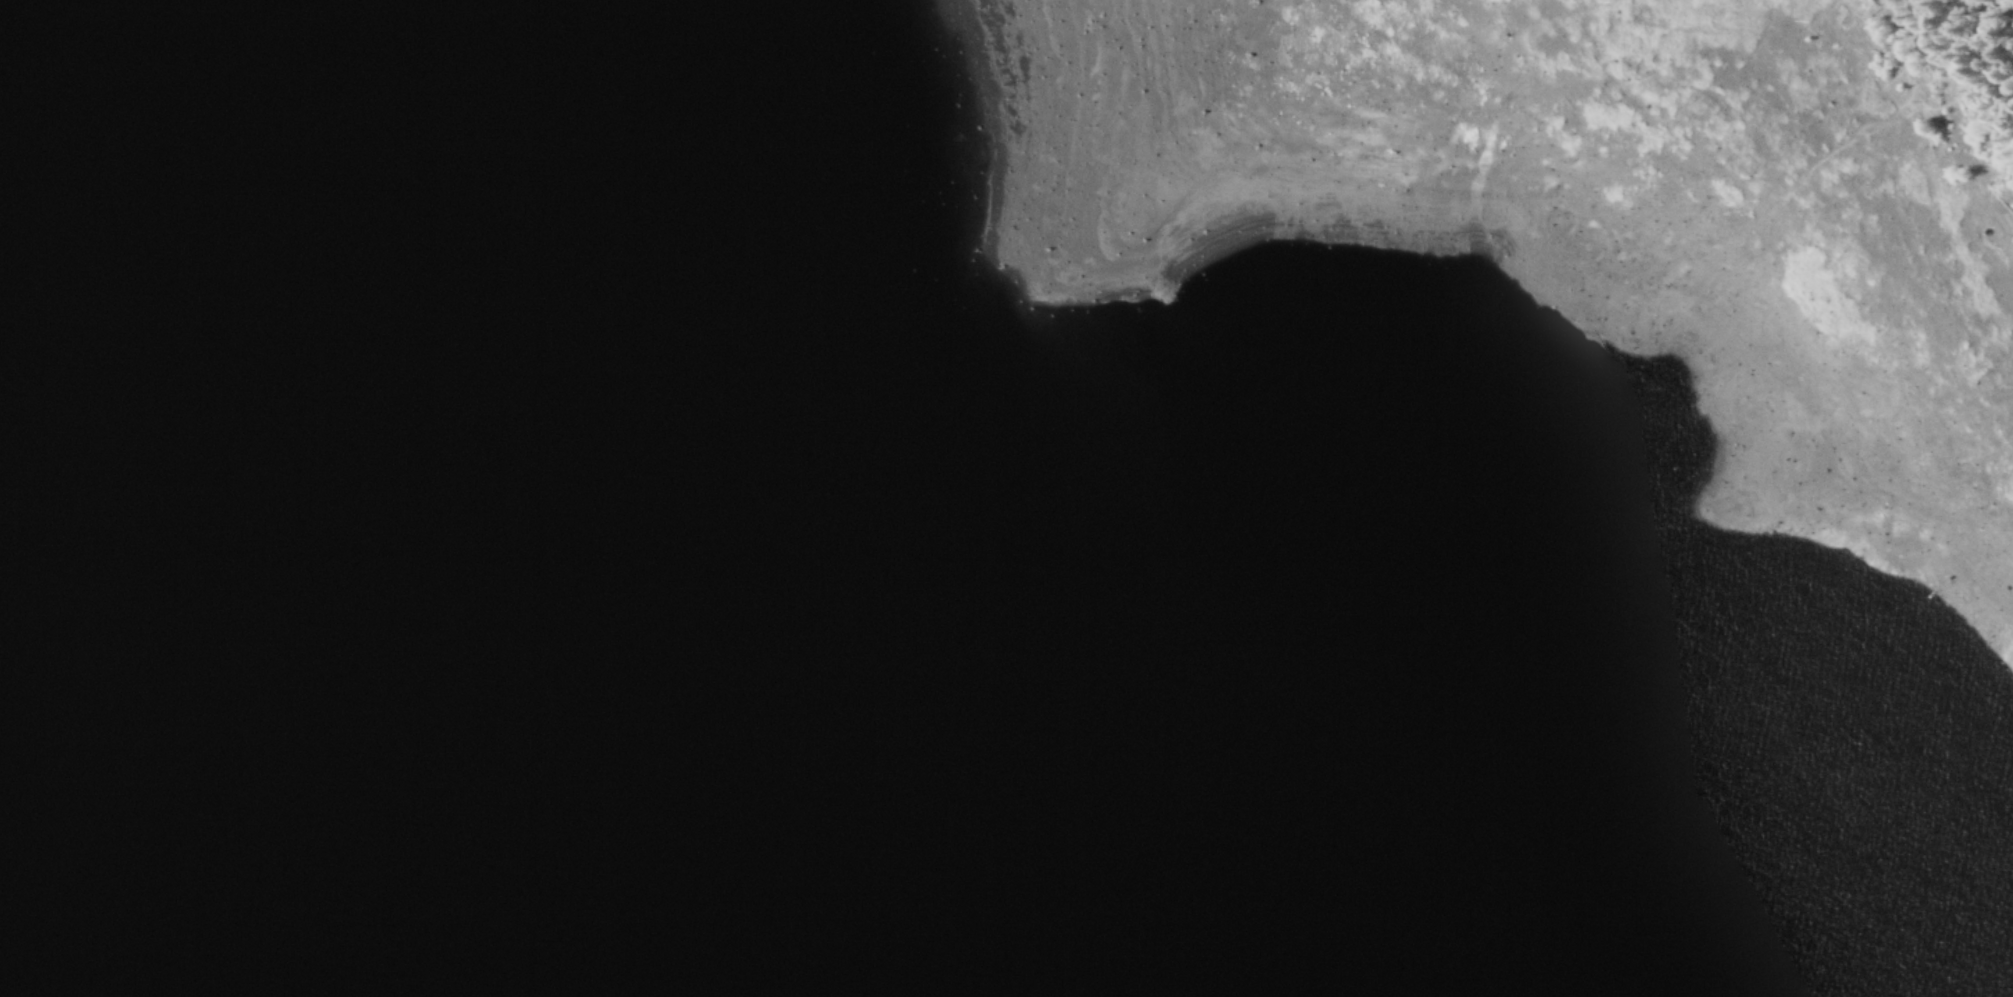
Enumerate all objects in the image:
river: (176, 808)

